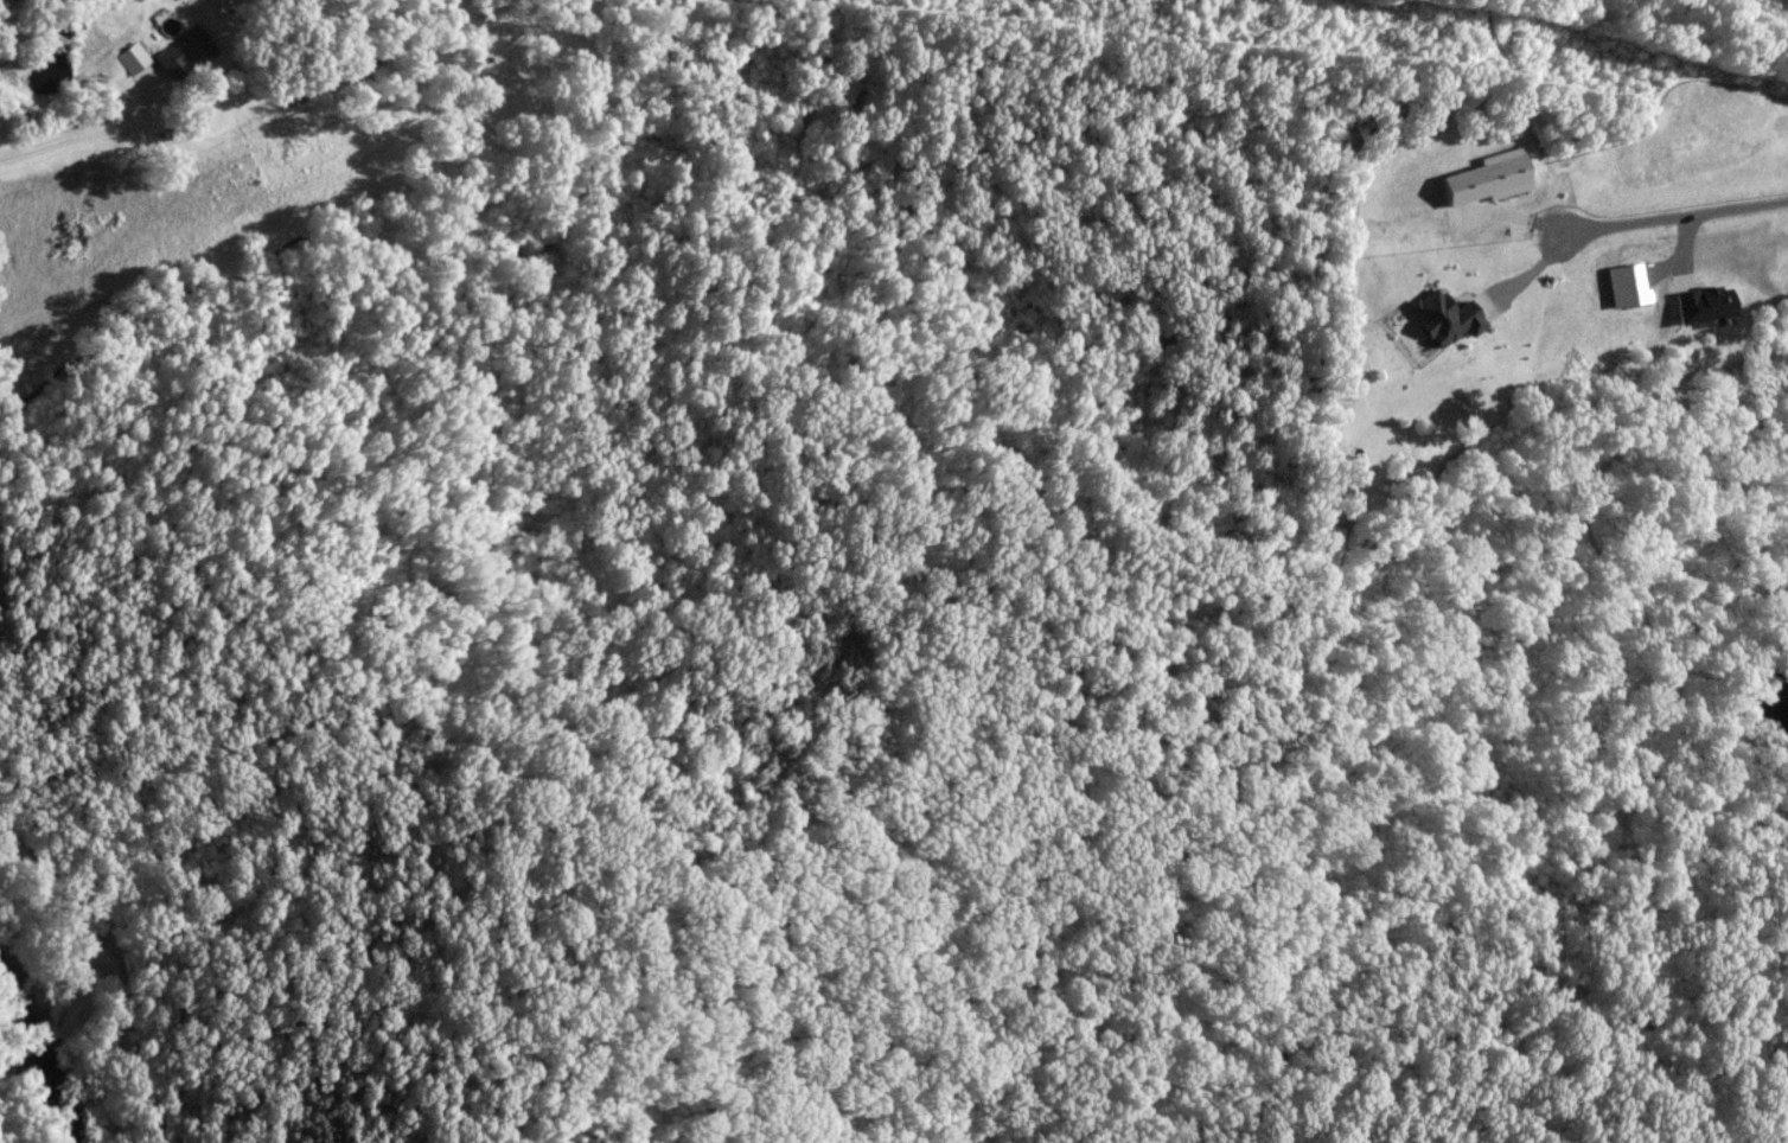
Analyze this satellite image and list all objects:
power tower: (1148, 4)
power tower: (1506, 40)
building: (187, 53)
building: (377, 58)
road: (84, 136)
road: (1671, 215)
road: (101, 966)
road: (57, 1010)

